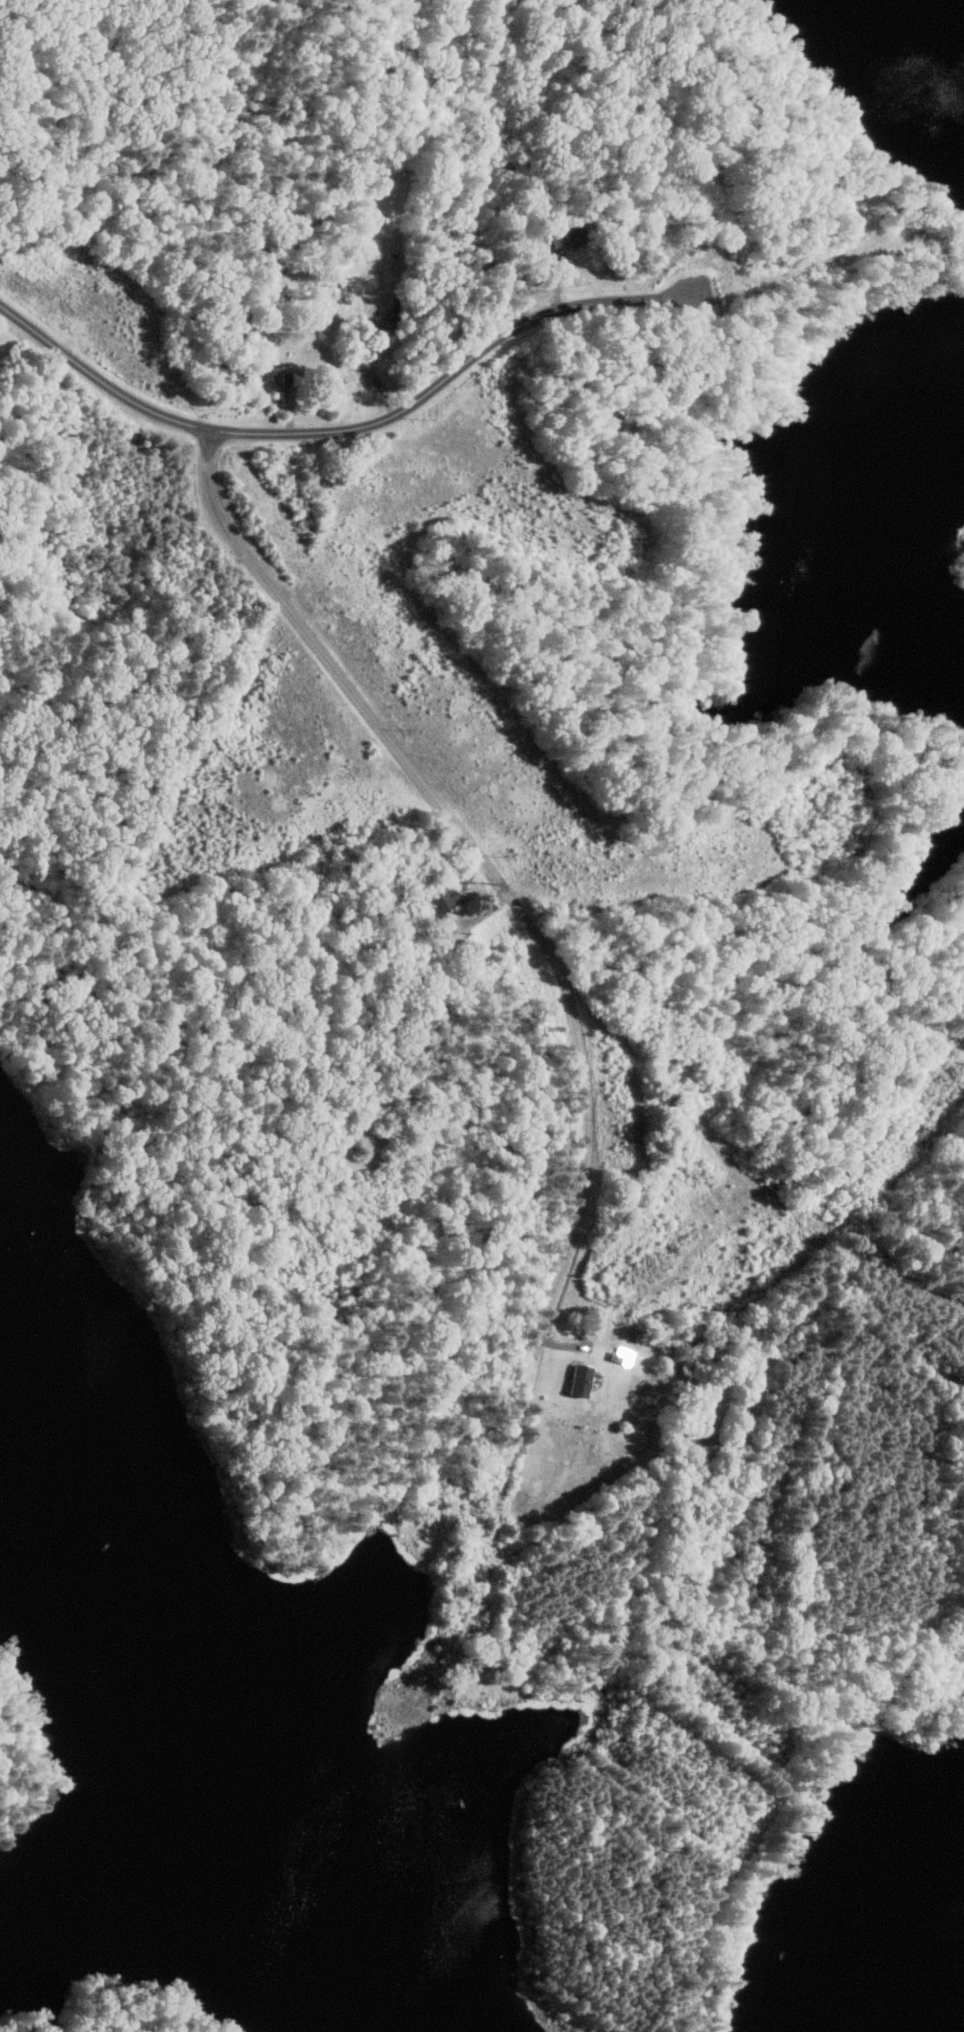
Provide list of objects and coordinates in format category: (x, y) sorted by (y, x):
building: (567, 238)
road: (465, 363)
building: (268, 371)
building: (290, 378)
road: (573, 1022)
building: (582, 1380)
river: (182, 1743)
river: (834, 1886)

